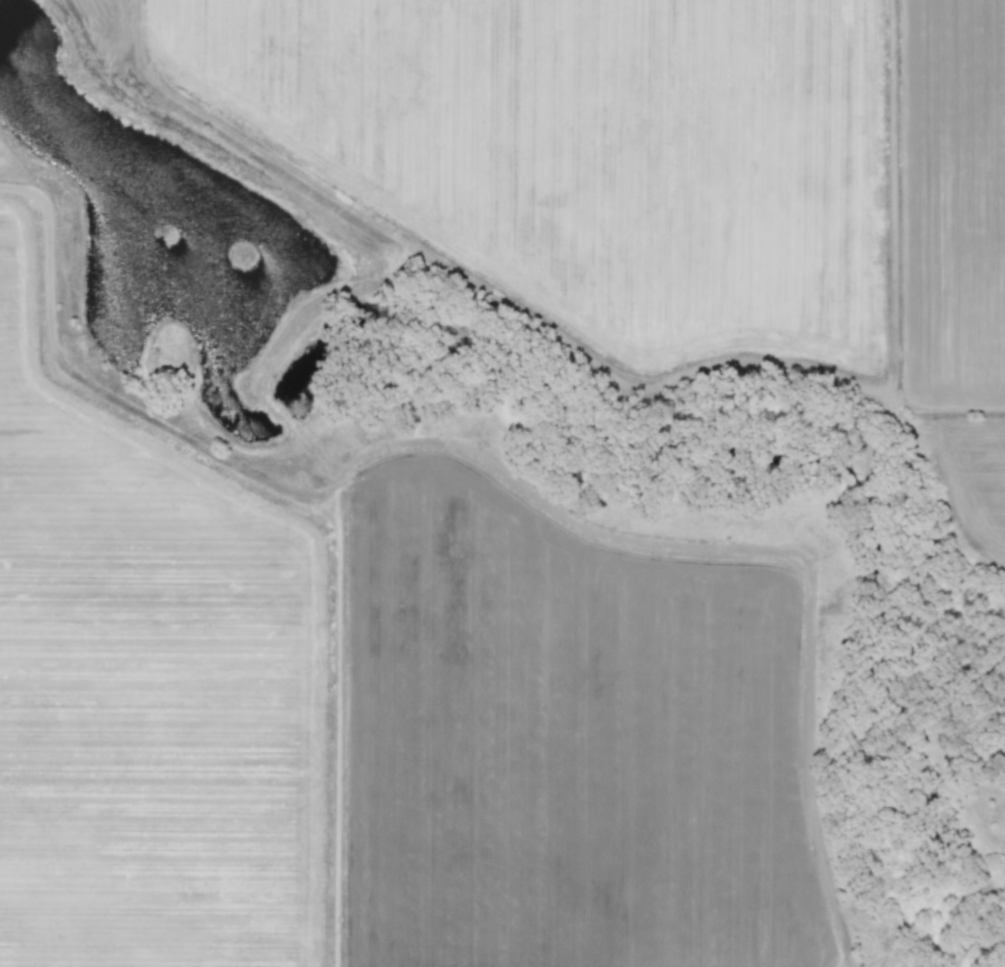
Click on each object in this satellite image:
crop: (658, 147)
crop: (376, 701)

